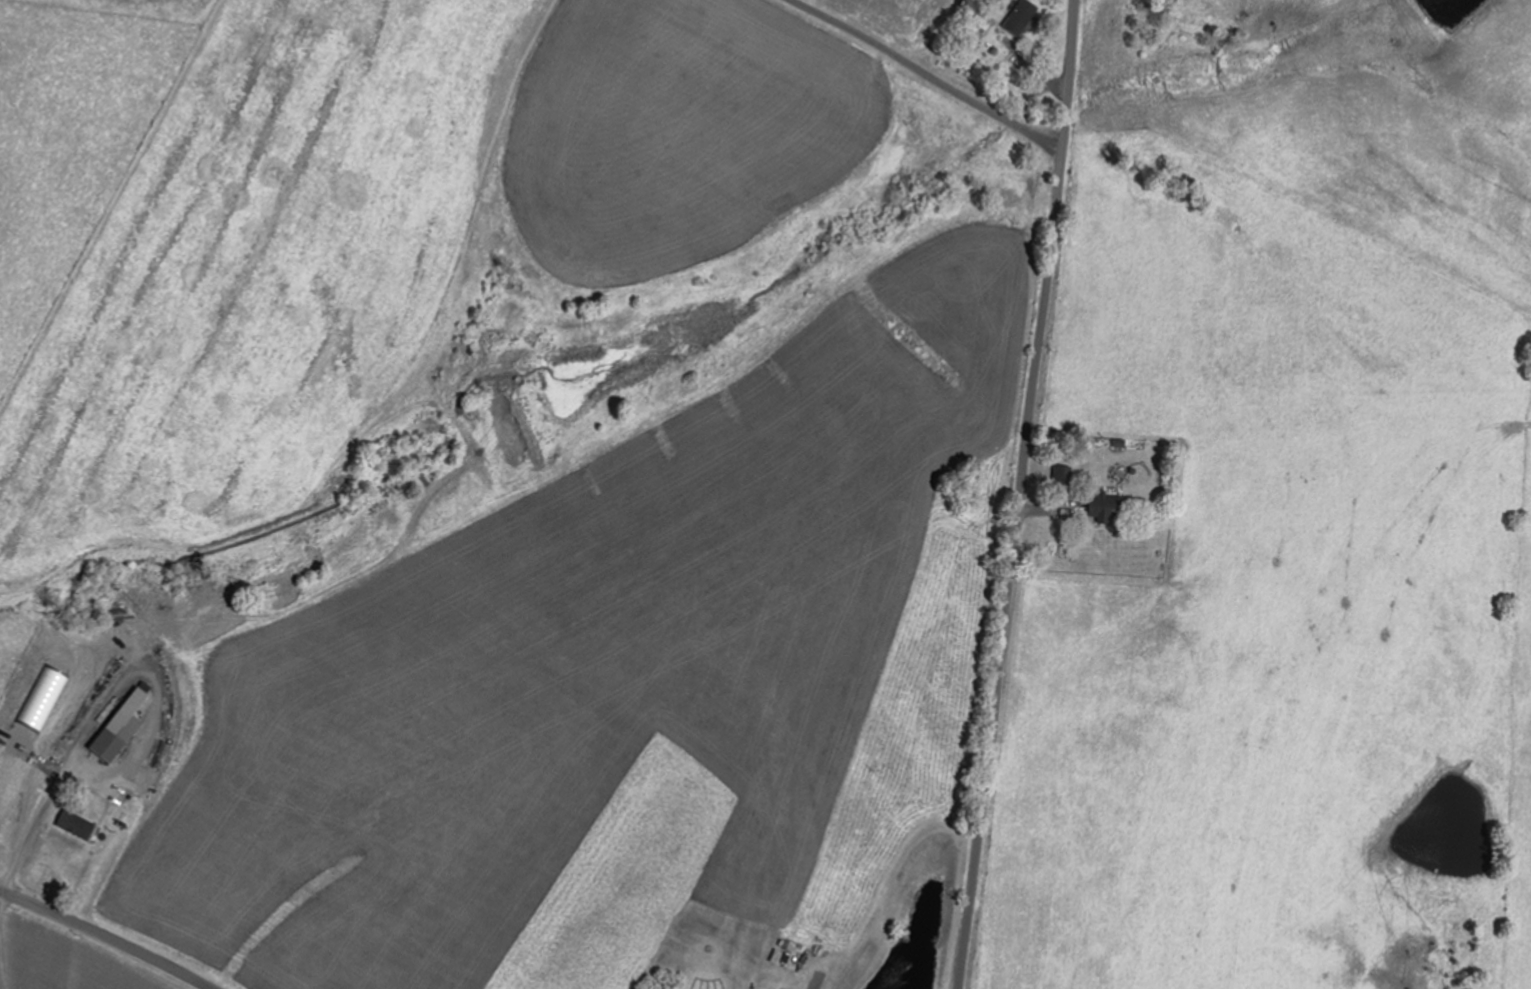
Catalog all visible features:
building: (1023, 18)
road: (1022, 494)
building: (1110, 508)
building: (110, 747)
building: (78, 825)
road: (105, 936)

